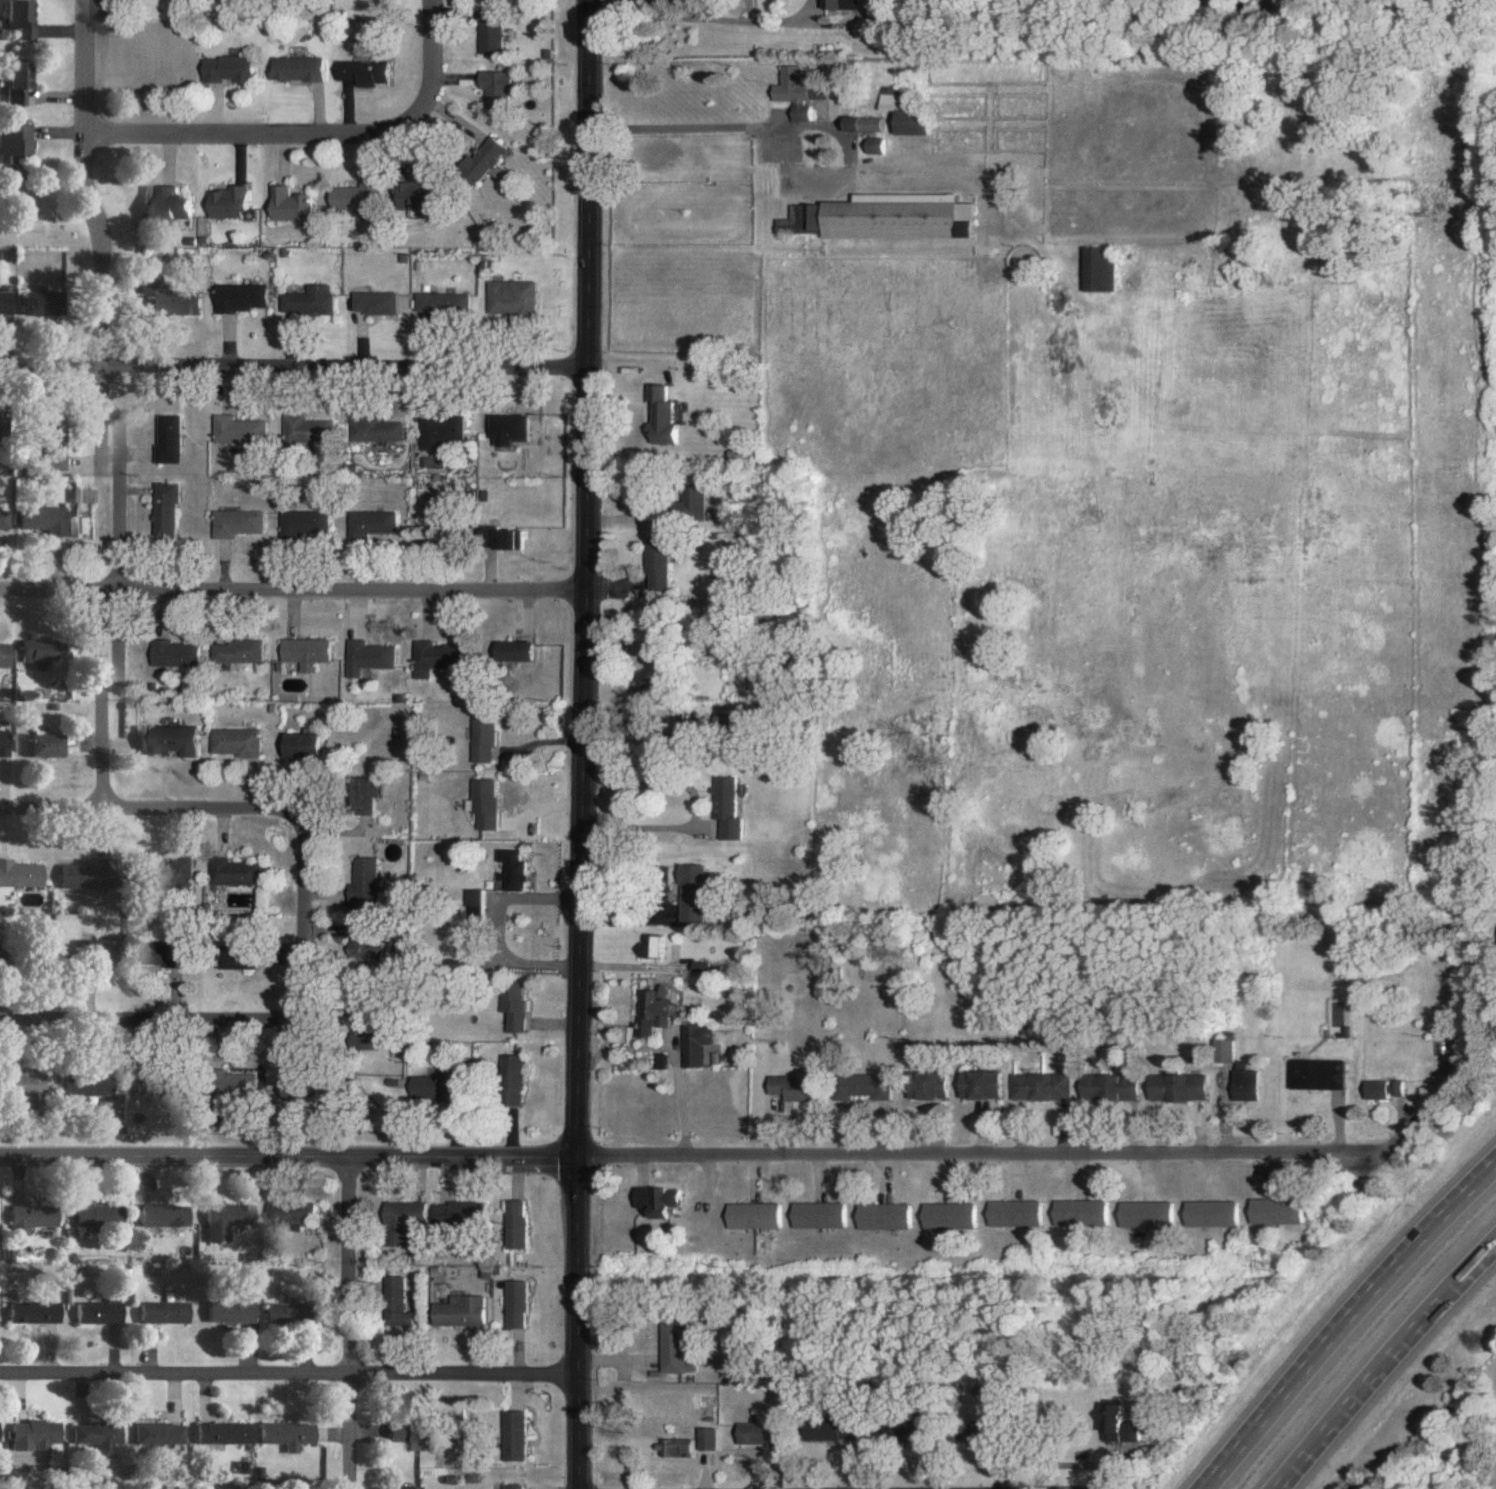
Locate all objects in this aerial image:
building: (828, 4)
building: (25, 17)
road: (694, 17)
building: (486, 32)
road: (428, 60)
building: (223, 69)
building: (292, 69)
building: (358, 71)
building: (23, 80)
building: (790, 92)
building: (899, 115)
building: (857, 124)
road: (697, 129)
building: (19, 140)
road: (260, 140)
building: (868, 145)
building: (481, 157)
building: (409, 193)
building: (349, 196)
building: (222, 202)
building: (165, 203)
building: (284, 205)
building: (894, 217)
building: (1094, 269)
building: (170, 296)
building: (234, 297)
building: (505, 297)
building: (301, 300)
building: (8, 302)
building: (47, 302)
building: (367, 302)
building: (434, 304)
road: (289, 371)
road: (115, 404)
building: (655, 416)
building: (501, 429)
building: (230, 430)
building: (298, 430)
building: (367, 430)
building: (1, 431)
building: (432, 432)
building: (159, 439)
building: (61, 442)
building: (684, 504)
building: (157, 510)
building: (7, 519)
building: (50, 519)
building: (228, 523)
building: (362, 523)
building: (295, 524)
building: (497, 539)
building: (651, 564)
road: (289, 594)
building: (45, 650)
building: (232, 651)
building: (508, 651)
building: (299, 652)
building: (168, 654)
building: (7, 655)
building: (361, 657)
building: (427, 658)
building: (169, 741)
building: (6, 742)
building: (230, 742)
building: (478, 742)
building: (50, 744)
road: (576, 744)
building: (299, 745)
building: (479, 803)
road: (689, 804)
building: (723, 808)
road: (146, 812)
building: (508, 869)
building: (231, 873)
building: (21, 874)
building: (172, 874)
building: (75, 876)
building: (361, 880)
road: (300, 916)
road: (487, 927)
building: (363, 944)
building: (652, 946)
building: (101, 948)
building: (163, 955)
building: (245, 959)
building: (699, 967)
building: (511, 1008)
building: (651, 1011)
road: (148, 1019)
building: (693, 1042)
building: (1225, 1050)
building: (659, 1061)
building: (1307, 1074)
building: (513, 1078)
building: (244, 1082)
building: (87, 1084)
building: (152, 1085)
building: (981, 1085)
building: (1244, 1085)
building: (21, 1086)
building: (436, 1086)
building: (863, 1086)
building: (929, 1086)
building: (793, 1087)
building: (1040, 1087)
building: (1108, 1087)
building: (1178, 1087)
building: (1382, 1088)
road: (693, 1157)
building: (656, 1201)
building: (408, 1211)
building: (482, 1211)
building: (1275, 1211)
building: (1078, 1212)
building: (293, 1213)
building: (455, 1213)
building: (1013, 1213)
building: (1209, 1213)
building: (1143, 1214)
building: (162, 1215)
building: (753, 1215)
building: (818, 1215)
building: (96, 1216)
building: (883, 1216)
building: (948, 1216)
building: (28, 1218)
building: (223, 1219)
building: (517, 1224)
building: (398, 1302)
building: (517, 1304)
building: (228, 1311)
building: (461, 1311)
building: (32, 1312)
building: (96, 1312)
building: (161, 1312)
building: (284, 1313)
road: (1346, 1322)
road: (349, 1323)
building: (673, 1349)
road: (1385, 1364)
road: (289, 1375)
building: (1118, 1423)
building: (829, 1429)
building: (221, 1432)
building: (158, 1433)
building: (411, 1433)
building: (759, 1433)
building: (285, 1434)
road: (1043, 1434)
building: (33, 1435)
building: (514, 1436)
building: (96, 1437)
building: (705, 1439)
building: (673, 1447)
building: (512, 1486)
building: (410, 1487)

